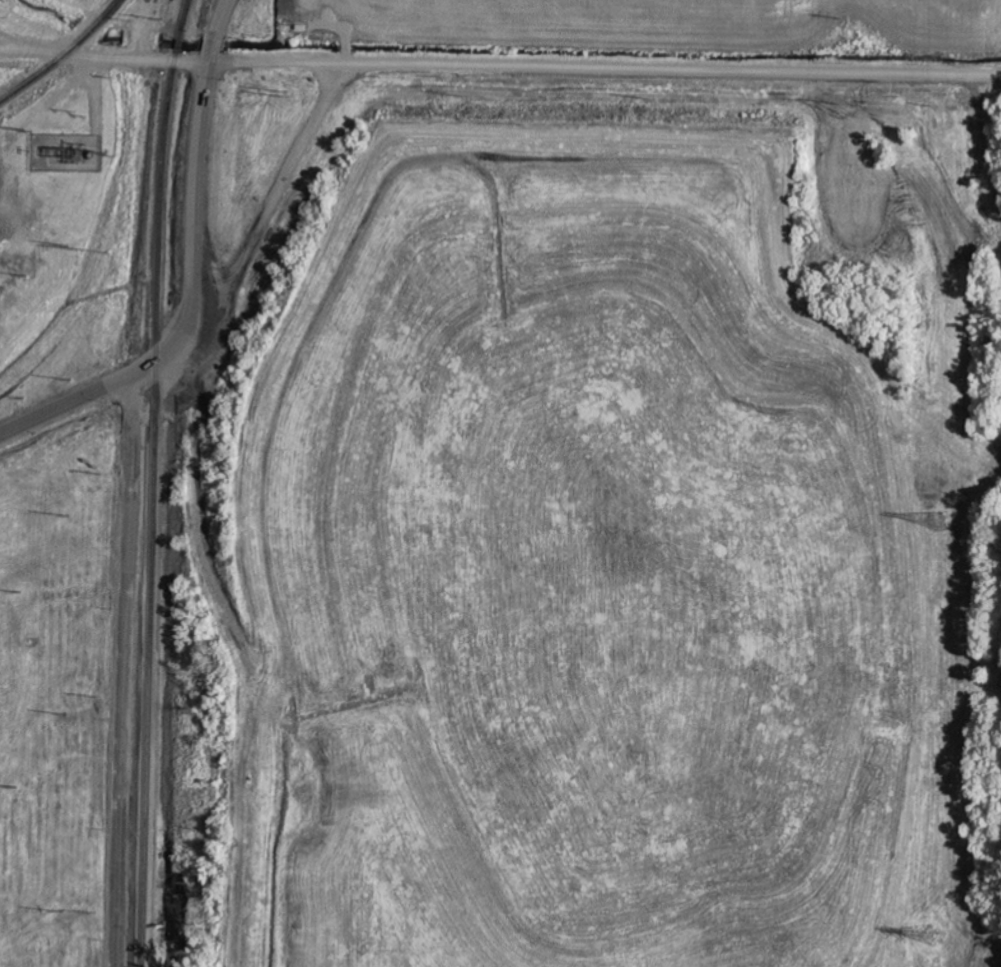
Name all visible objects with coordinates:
railway: (91, 29)
road: (531, 69)
railway: (31, 81)
road: (199, 150)
power substation: (65, 152)
road: (112, 387)
railway: (149, 482)

